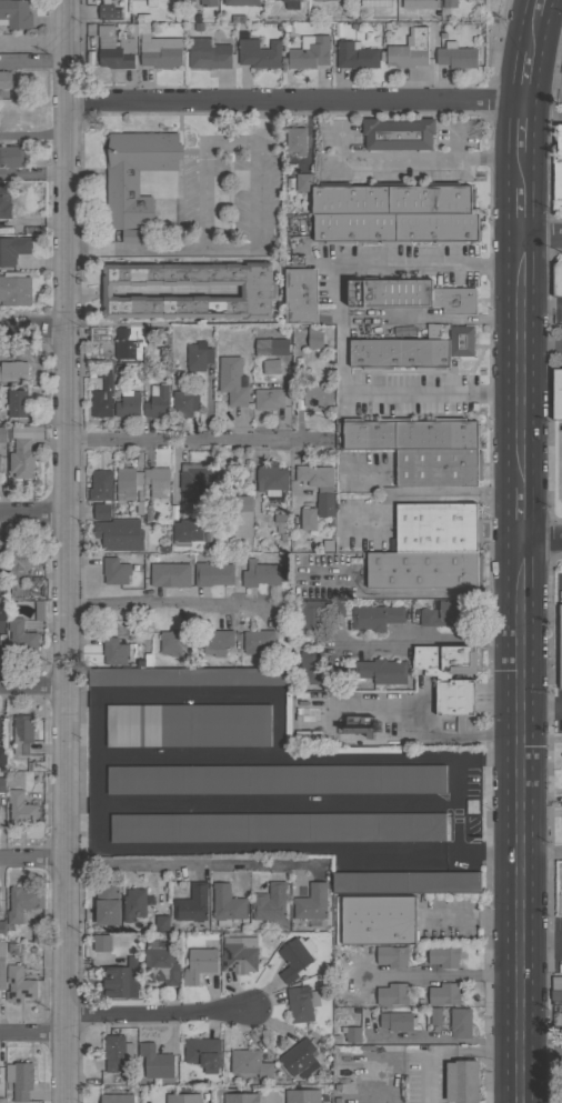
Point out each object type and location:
building: (101, 0)
building: (191, 0)
building: (320, 0)
building: (371, 0)
building: (240, 2)
building: (151, 3)
building: (208, 3)
building: (383, 3)
building: (449, 3)
building: (291, 4)
building: (419, 4)
building: (108, 12)
building: (16, 14)
road: (31, 46)
building: (157, 47)
building: (114, 49)
building: (410, 50)
building: (310, 52)
building: (259, 53)
building: (208, 54)
building: (355, 56)
building: (455, 56)
building: (4, 80)
building: (1, 94)
road: (292, 97)
road: (261, 121)
building: (398, 133)
building: (295, 140)
building: (559, 141)
road: (31, 142)
building: (12, 157)
road: (431, 161)
road: (202, 167)
road: (31, 174)
building: (136, 174)
building: (303, 182)
building: (556, 187)
road: (260, 197)
building: (391, 198)
building: (4, 201)
building: (395, 228)
building: (33, 231)
building: (137, 235)
road: (542, 239)
road: (161, 245)
building: (12, 250)
building: (558, 278)
building: (14, 289)
building: (257, 291)
road: (149, 292)
building: (300, 295)
building: (409, 295)
road: (341, 327)
road: (31, 334)
building: (94, 335)
building: (314, 337)
building: (129, 341)
building: (271, 347)
building: (411, 351)
building: (198, 357)
building: (308, 362)
building: (271, 367)
building: (13, 371)
building: (232, 381)
building: (556, 394)
building: (102, 397)
building: (318, 397)
building: (269, 399)
building: (157, 402)
building: (17, 403)
building: (184, 403)
building: (128, 405)
building: (2, 433)
building: (410, 433)
road: (195, 441)
road: (561, 454)
building: (22, 459)
building: (438, 468)
road: (173, 472)
building: (224, 478)
building: (315, 478)
building: (190, 479)
building: (271, 480)
building: (157, 481)
building: (124, 483)
building: (100, 485)
road: (460, 492)
building: (241, 504)
building: (321, 505)
building: (101, 511)
road: (31, 512)
building: (308, 518)
building: (280, 522)
building: (436, 528)
building: (187, 532)
building: (120, 534)
road: (541, 543)
road: (520, 550)
road: (63, 551)
building: (422, 570)
building: (116, 571)
building: (20, 573)
building: (212, 574)
building: (260, 574)
building: (170, 575)
building: (3, 588)
road: (164, 602)
building: (39, 610)
building: (27, 611)
building: (2, 613)
building: (446, 613)
building: (318, 614)
building: (375, 616)
building: (20, 635)
road: (429, 639)
building: (173, 641)
building: (217, 642)
building: (258, 642)
building: (560, 642)
building: (114, 651)
building: (444, 661)
building: (318, 670)
building: (382, 671)
building: (189, 676)
road: (31, 685)
building: (454, 698)
road: (541, 706)
building: (287, 720)
building: (188, 725)
building: (360, 729)
building: (22, 734)
building: (344, 750)
building: (561, 750)
building: (2, 759)
building: (34, 765)
building: (275, 780)
building: (2, 784)
building: (561, 786)
building: (471, 805)
building: (20, 809)
building: (278, 828)
building: (561, 830)
road: (542, 854)
road: (31, 856)
road: (191, 863)
building: (407, 882)
building: (22, 903)
building: (107, 903)
building: (134, 903)
building: (192, 903)
building: (311, 904)
building: (227, 905)
building: (270, 905)
road: (471, 913)
building: (375, 920)
building: (161, 923)
building: (2, 929)
building: (38, 934)
building: (101, 943)
building: (238, 956)
building: (392, 956)
building: (443, 956)
building: (294, 957)
building: (161, 965)
building: (199, 965)
building: (2, 967)
road: (442, 974)
building: (119, 980)
building: (21, 982)
building: (555, 991)
building: (392, 994)
building: (443, 994)
building: (301, 1004)
road: (158, 1013)
building: (435, 1016)
building: (397, 1021)
building: (460, 1023)
building: (352, 1032)
road: (31, 1033)
road: (444, 1039)
building: (116, 1052)
building: (203, 1053)
building: (299, 1059)
road: (542, 1059)
building: (155, 1062)
building: (250, 1063)
building: (129, 1077)
building: (20, 1080)
building: (465, 1081)
building: (301, 1096)
building: (241, 1097)
building: (116, 1099)
building: (182, 1099)
building: (2, 1101)

